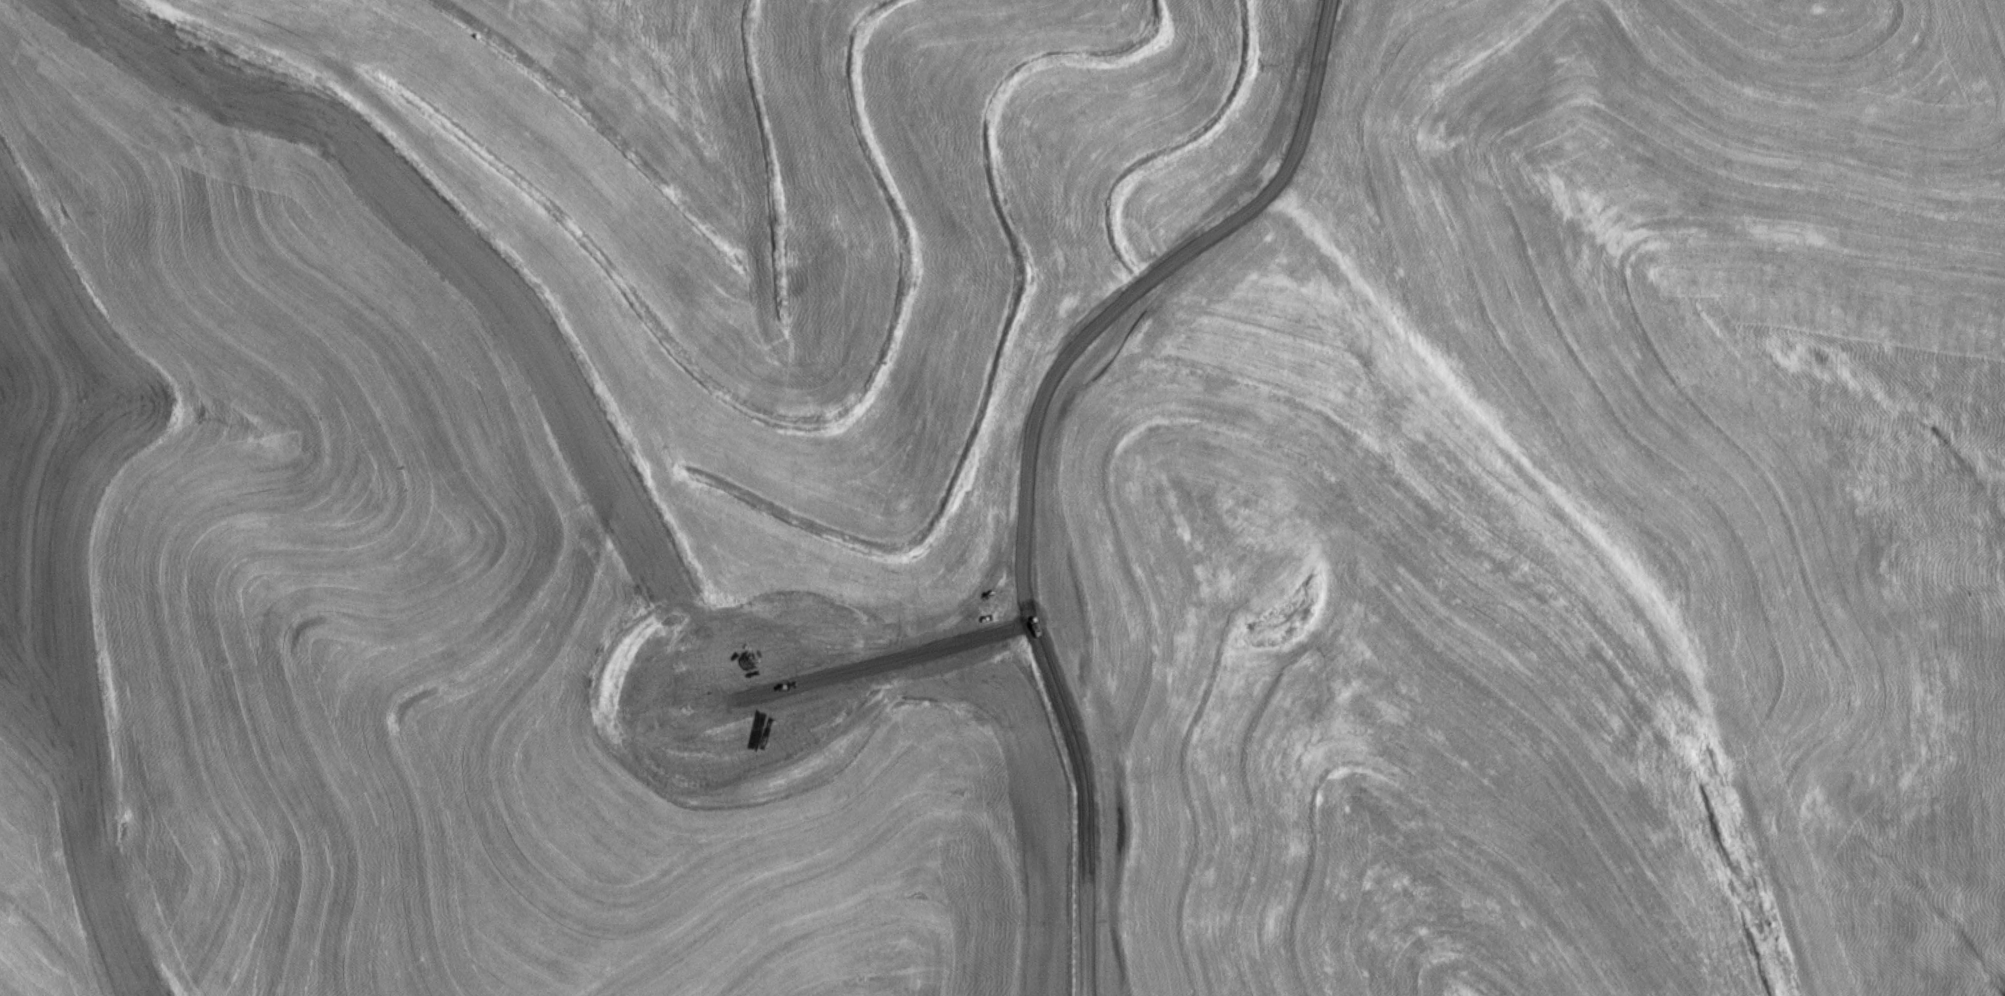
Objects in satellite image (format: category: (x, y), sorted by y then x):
road: (1033, 443)
wind turbine: (713, 691)

